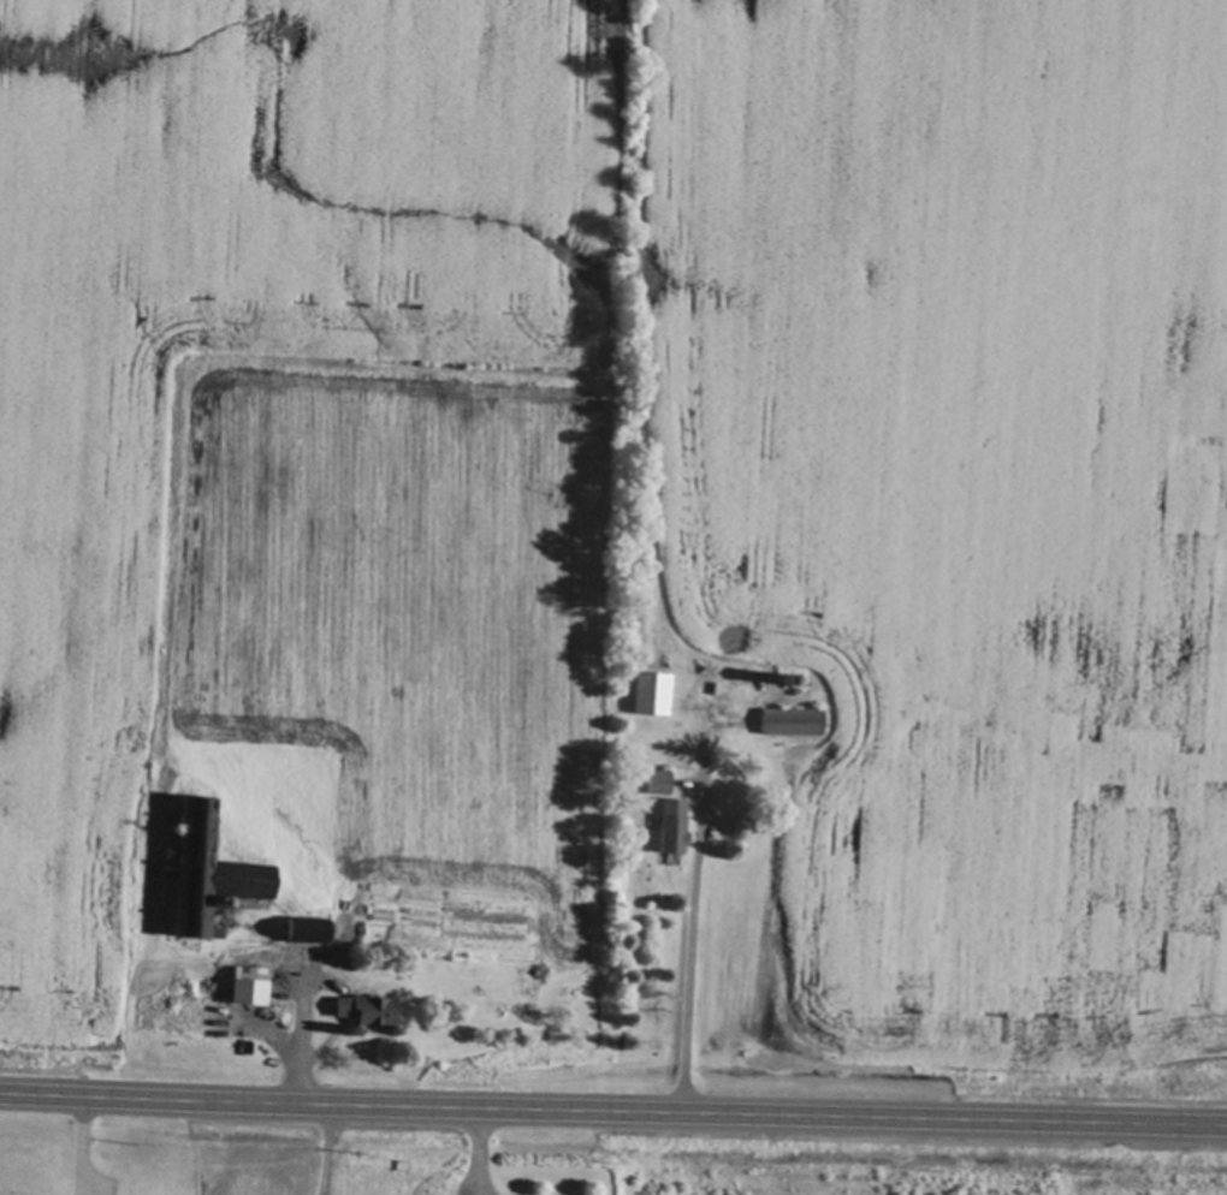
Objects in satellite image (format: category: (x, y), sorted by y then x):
building: (787, 679)
building: (650, 692)
building: (790, 721)
building: (658, 780)
building: (671, 825)
building: (209, 870)
building: (220, 902)
building: (306, 928)
building: (256, 989)
building: (364, 1009)
building: (183, 1017)
road: (612, 1113)
building: (248, 1184)

